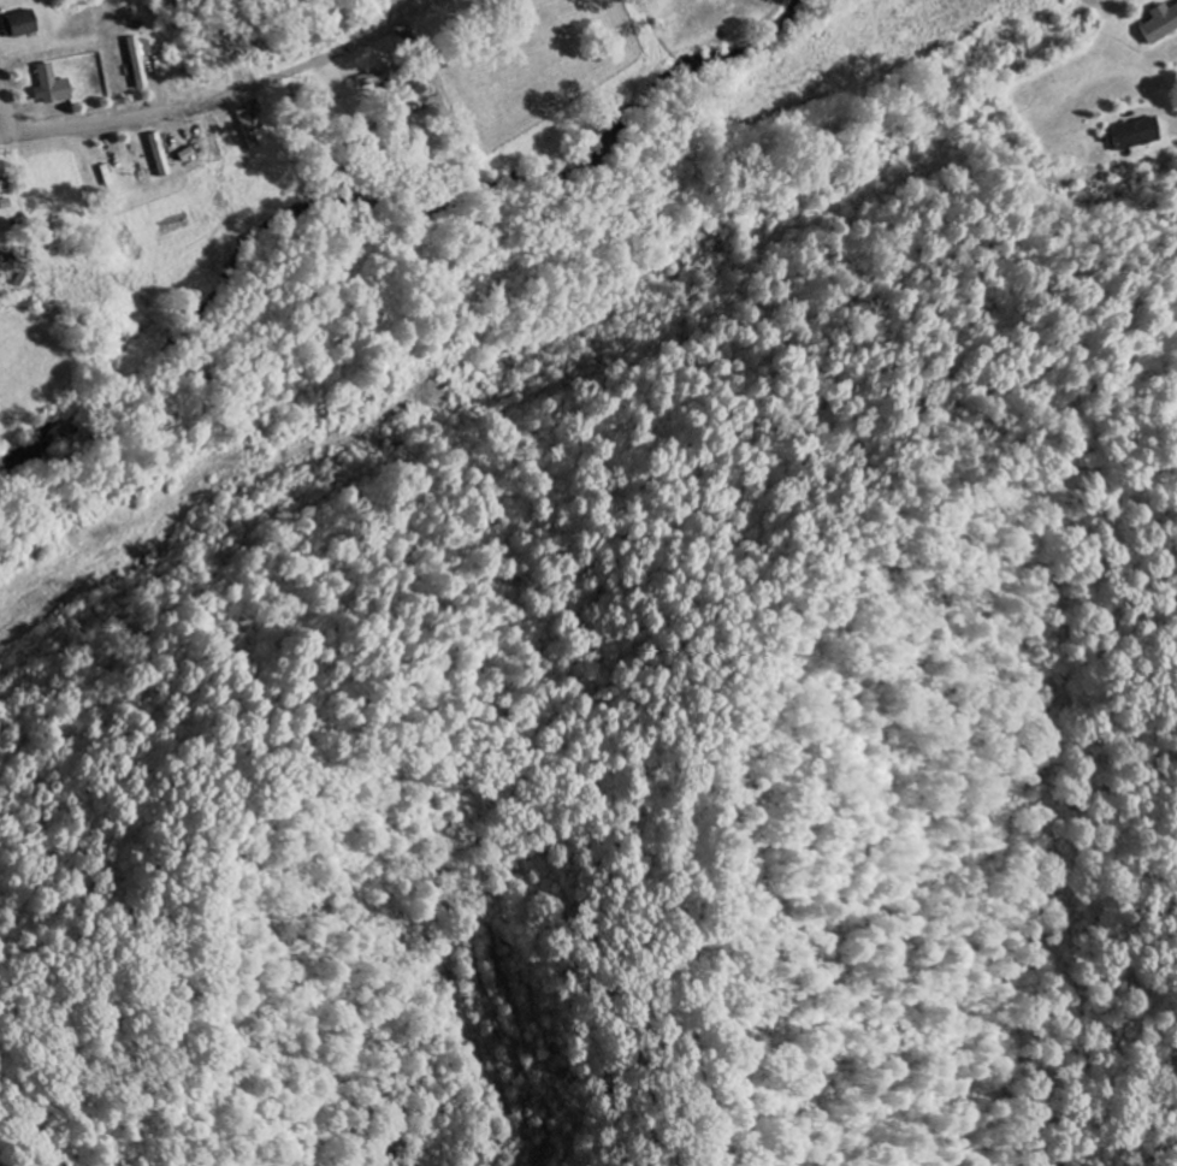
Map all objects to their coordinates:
road: (196, 19)
building: (18, 23)
building: (1161, 23)
road: (416, 49)
building: (135, 63)
building: (372, 79)
building: (49, 85)
road: (2, 103)
building: (1141, 134)
building: (156, 154)
building: (1, 185)

